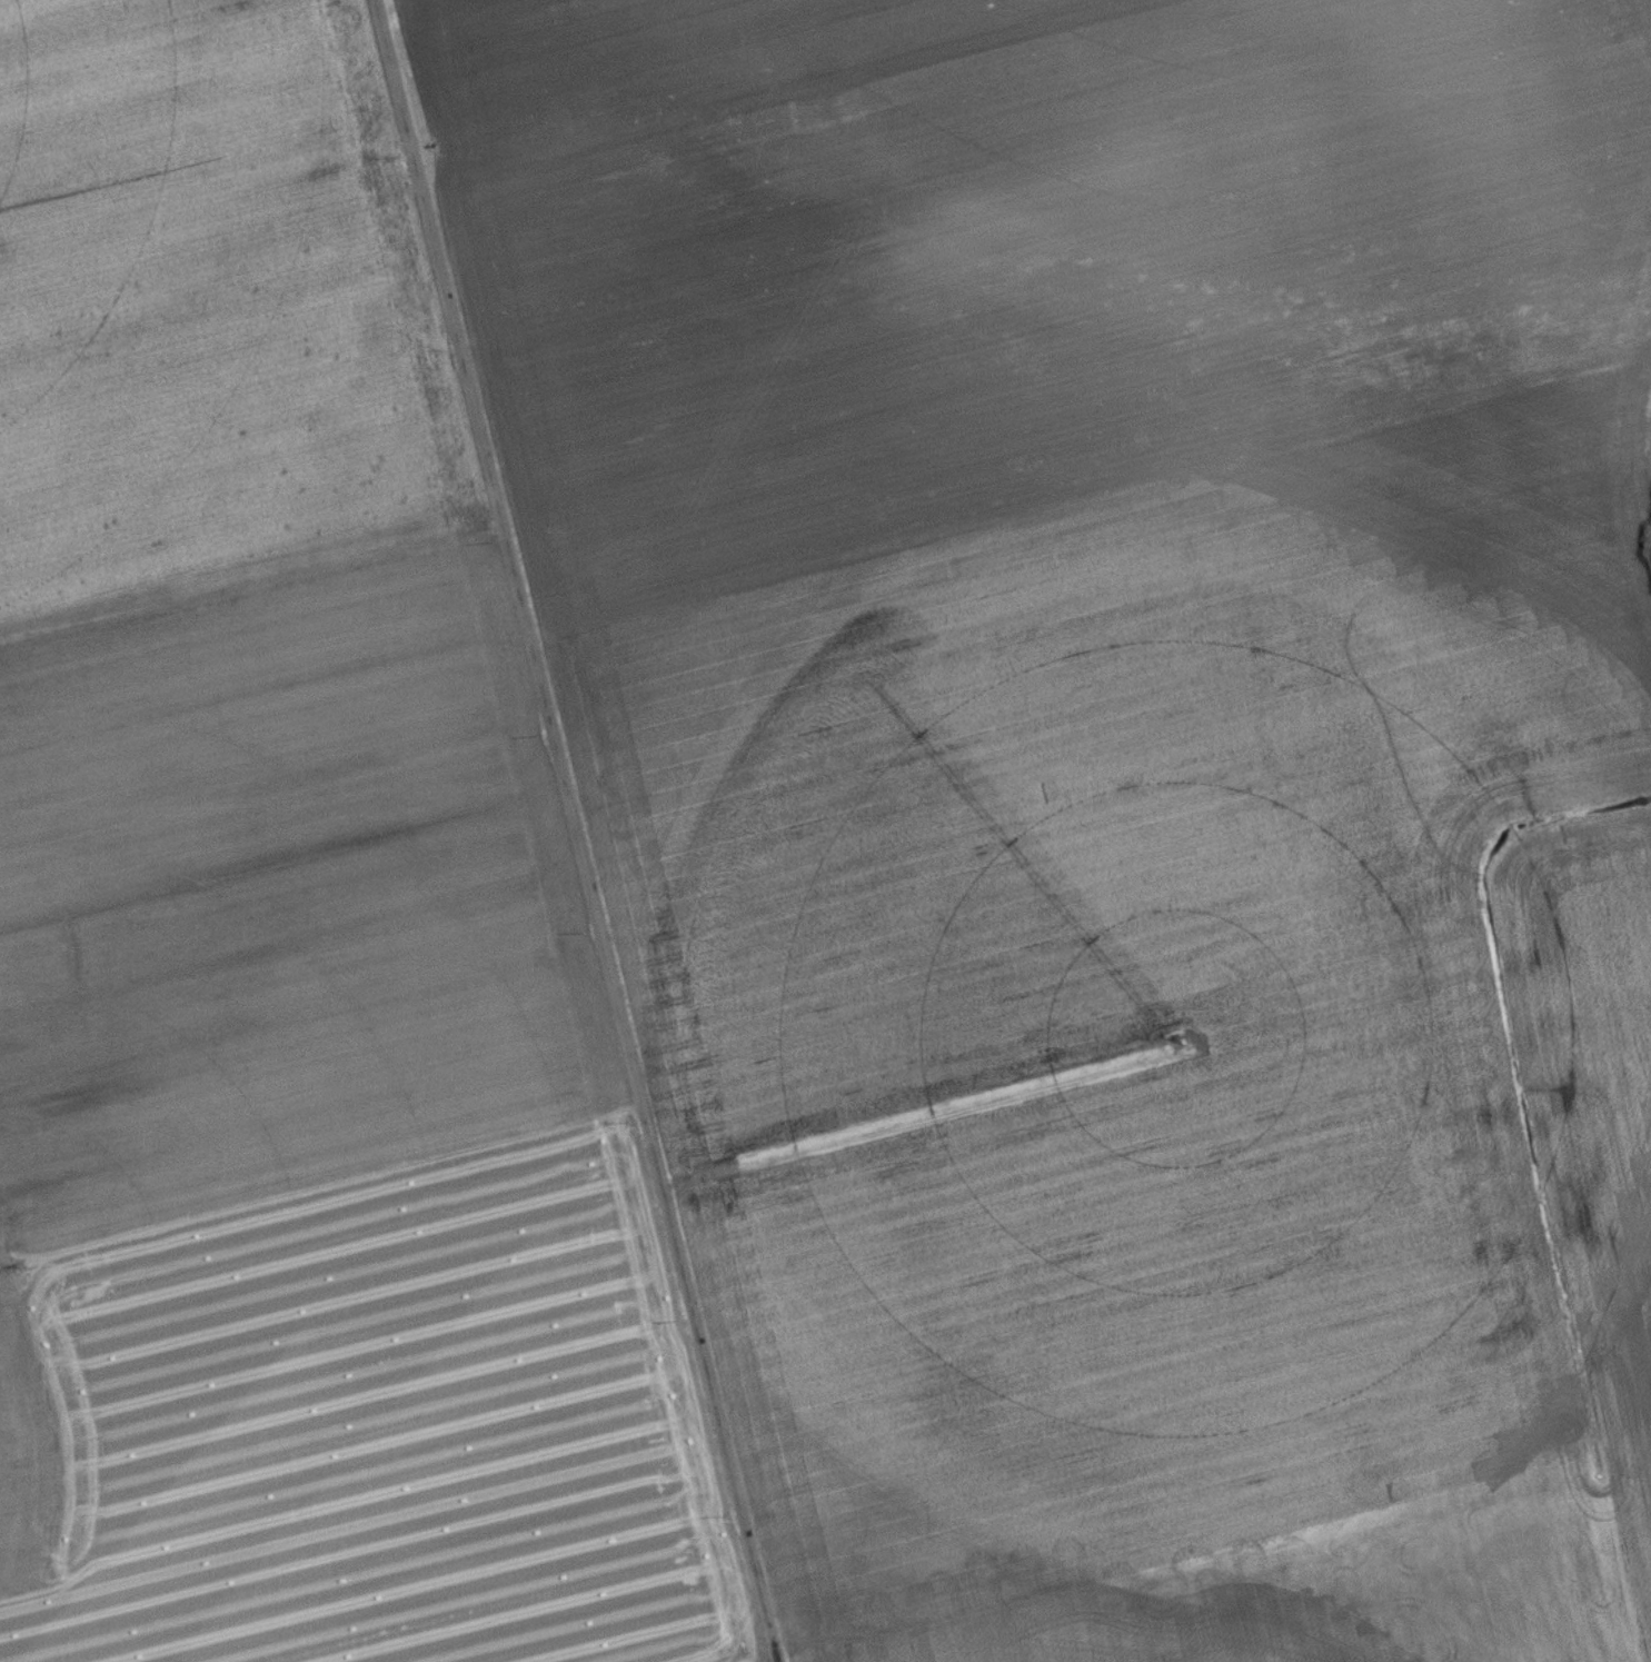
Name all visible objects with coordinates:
road: (576, 830)

